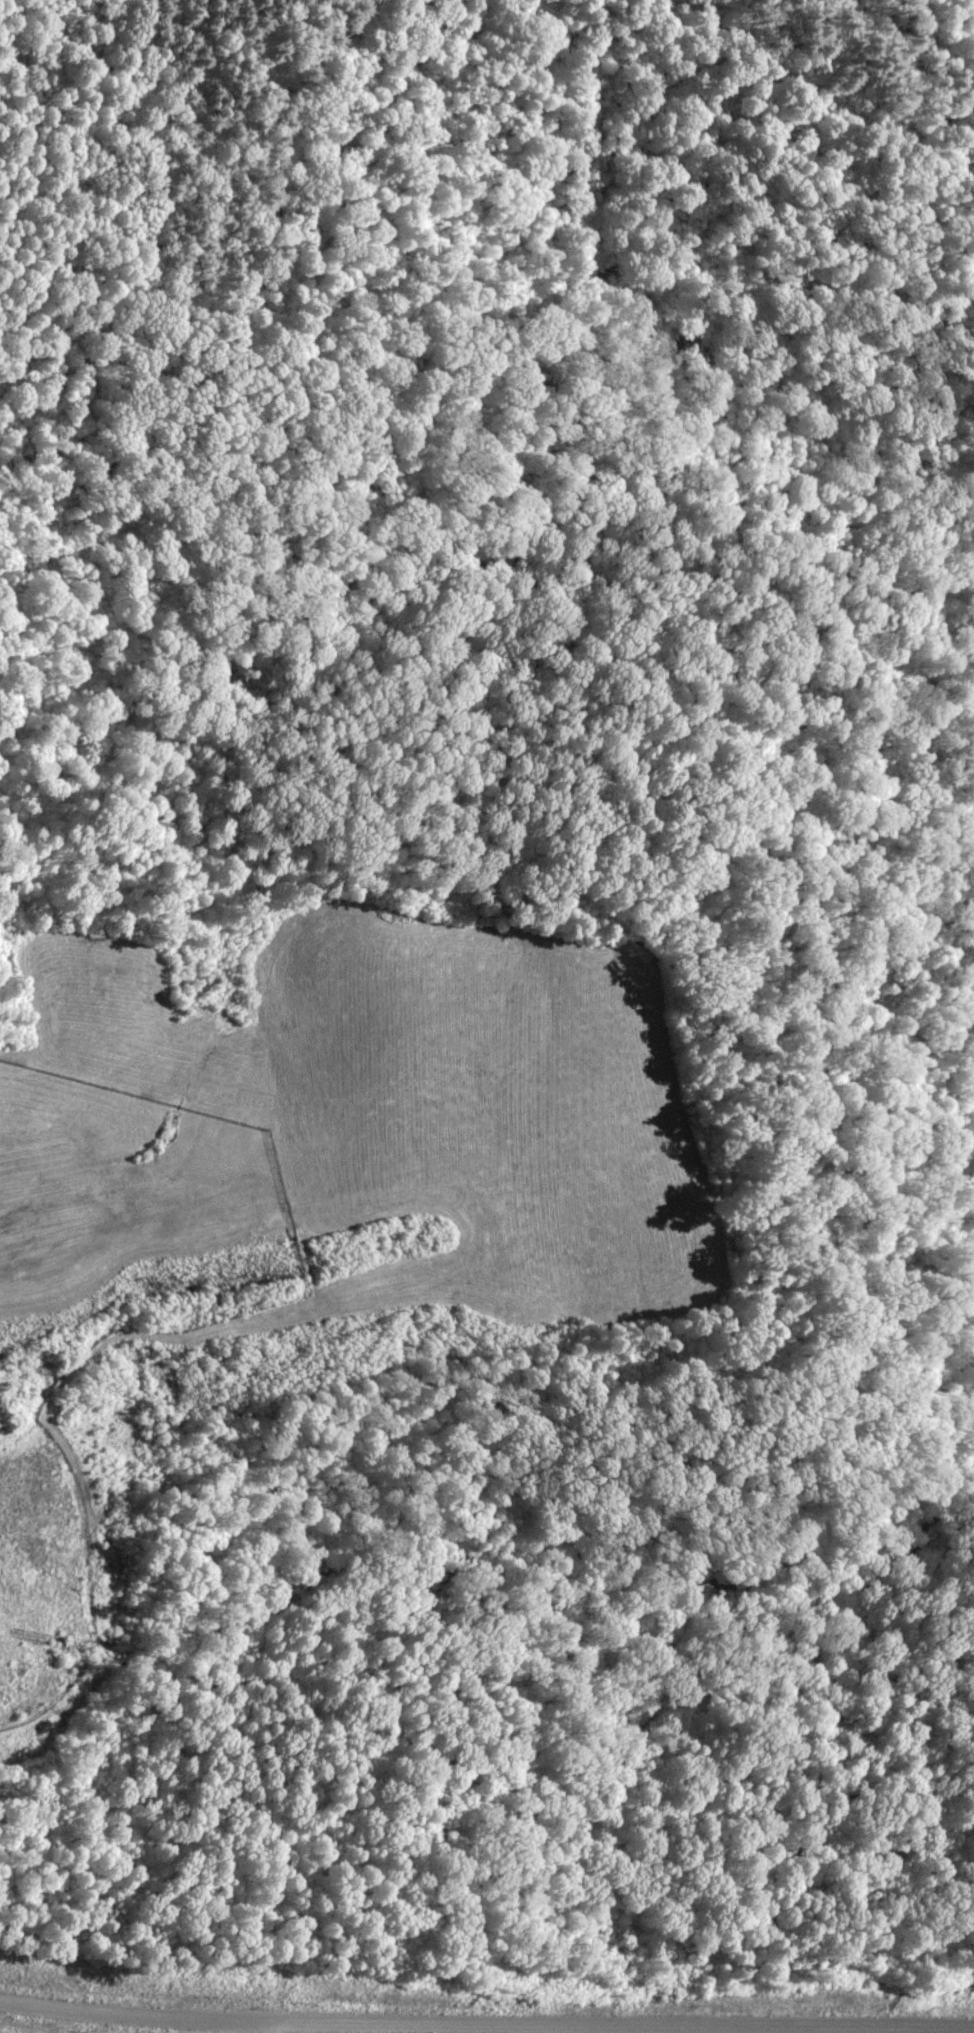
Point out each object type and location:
airport: (104, 1313)

